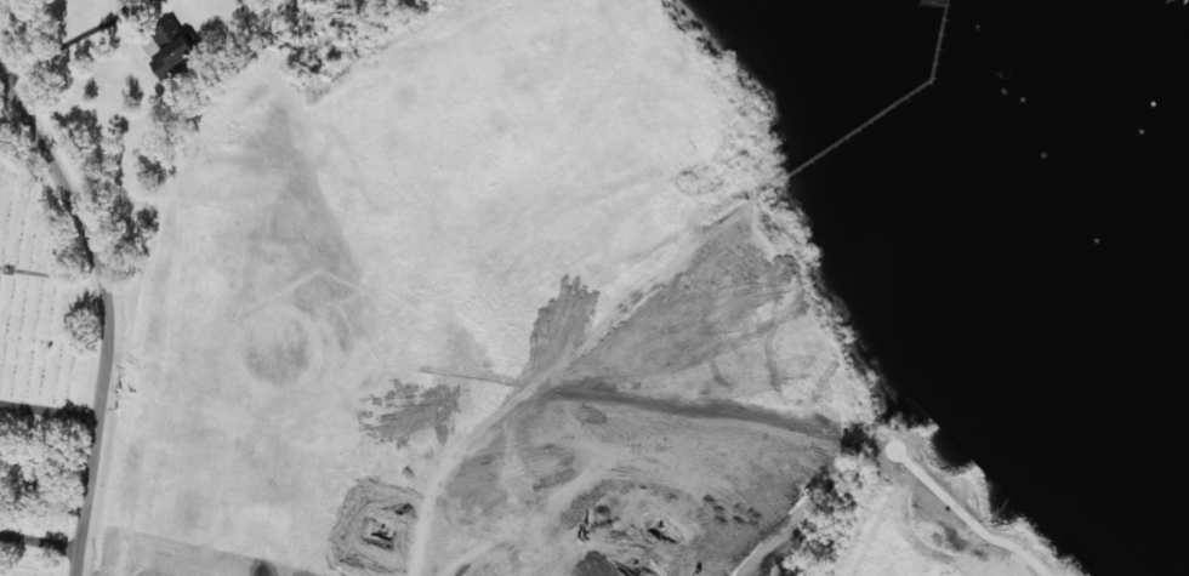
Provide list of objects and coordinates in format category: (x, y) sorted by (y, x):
building: (147, 1)
building: (173, 49)
road: (10, 112)
road: (109, 315)
park: (55, 357)
road: (51, 412)
road: (41, 542)

